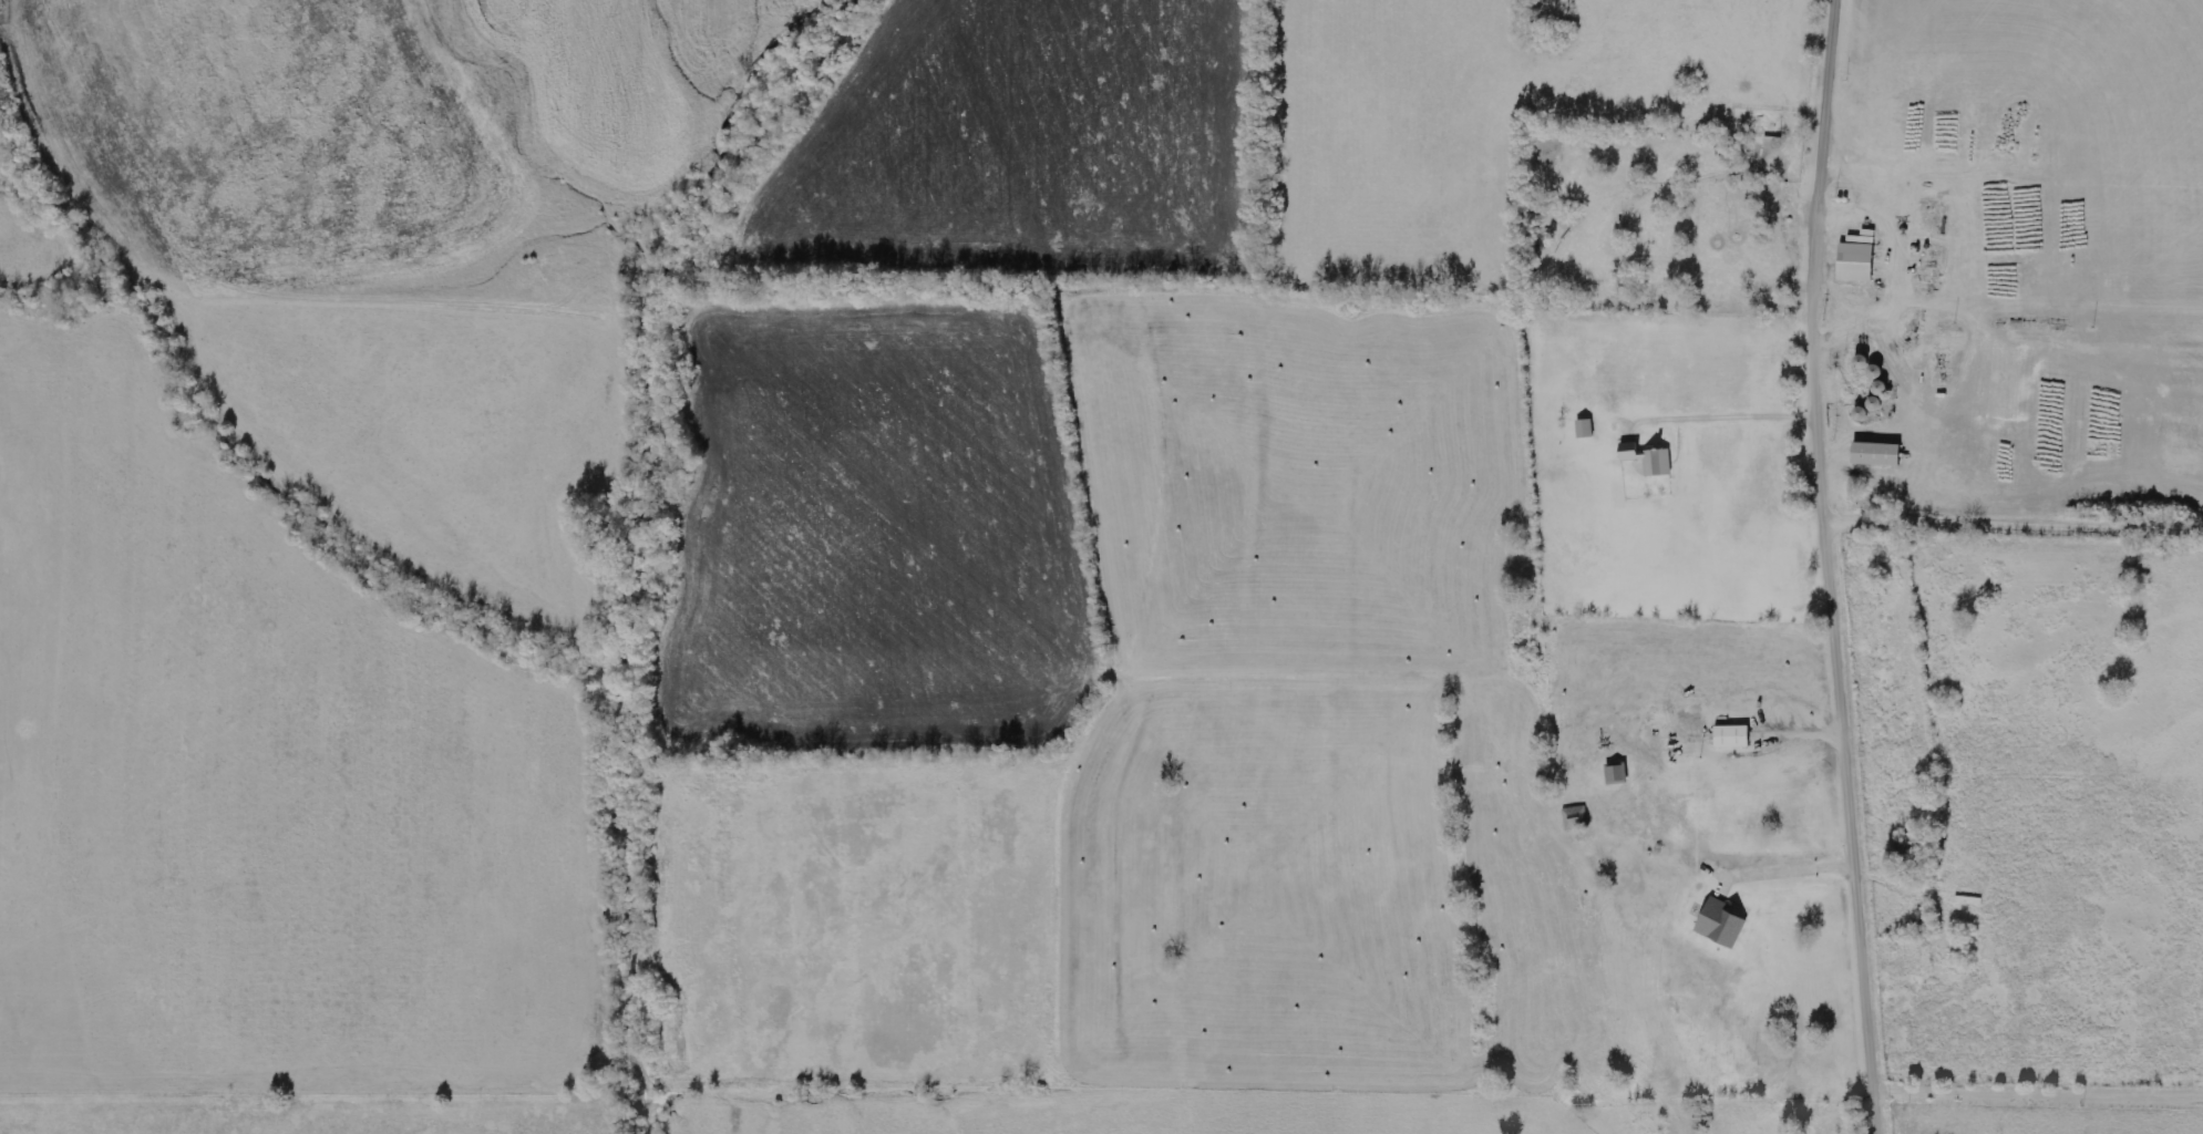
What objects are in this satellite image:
building: (1859, 261)
building: (1586, 429)
building: (1878, 455)
building: (1650, 460)
road: (2015, 522)
road: (1831, 567)
building: (1733, 738)
building: (1576, 818)
building: (1722, 925)

